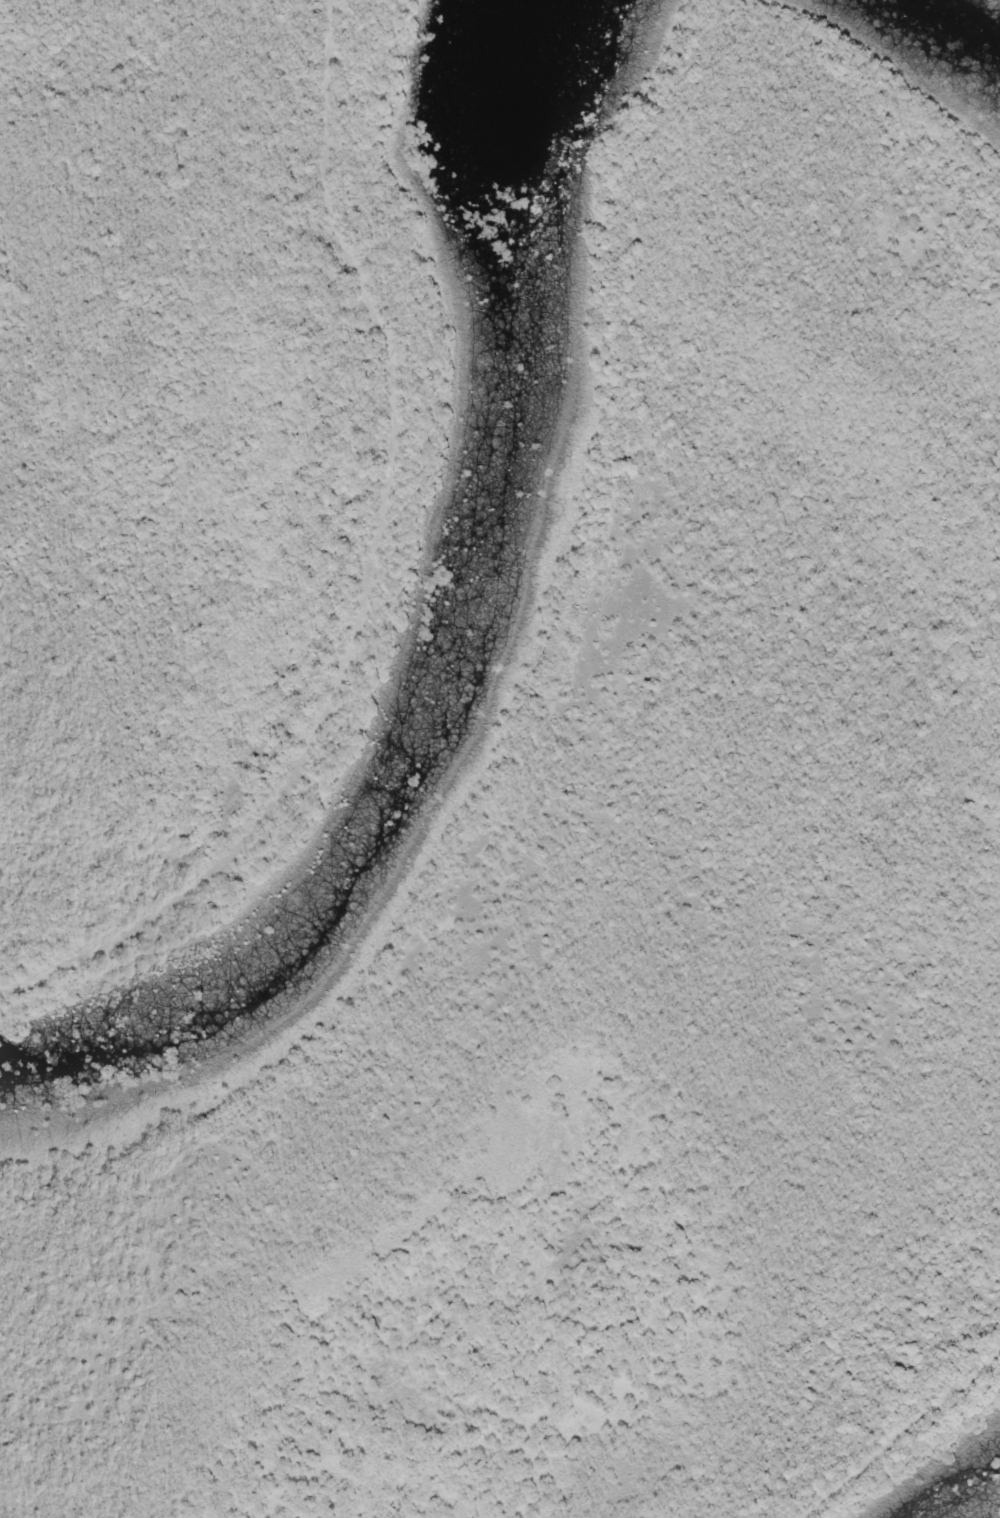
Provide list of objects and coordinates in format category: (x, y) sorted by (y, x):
river: (958, 24)
road: (309, 544)
river: (461, 651)
road: (881, 1417)

